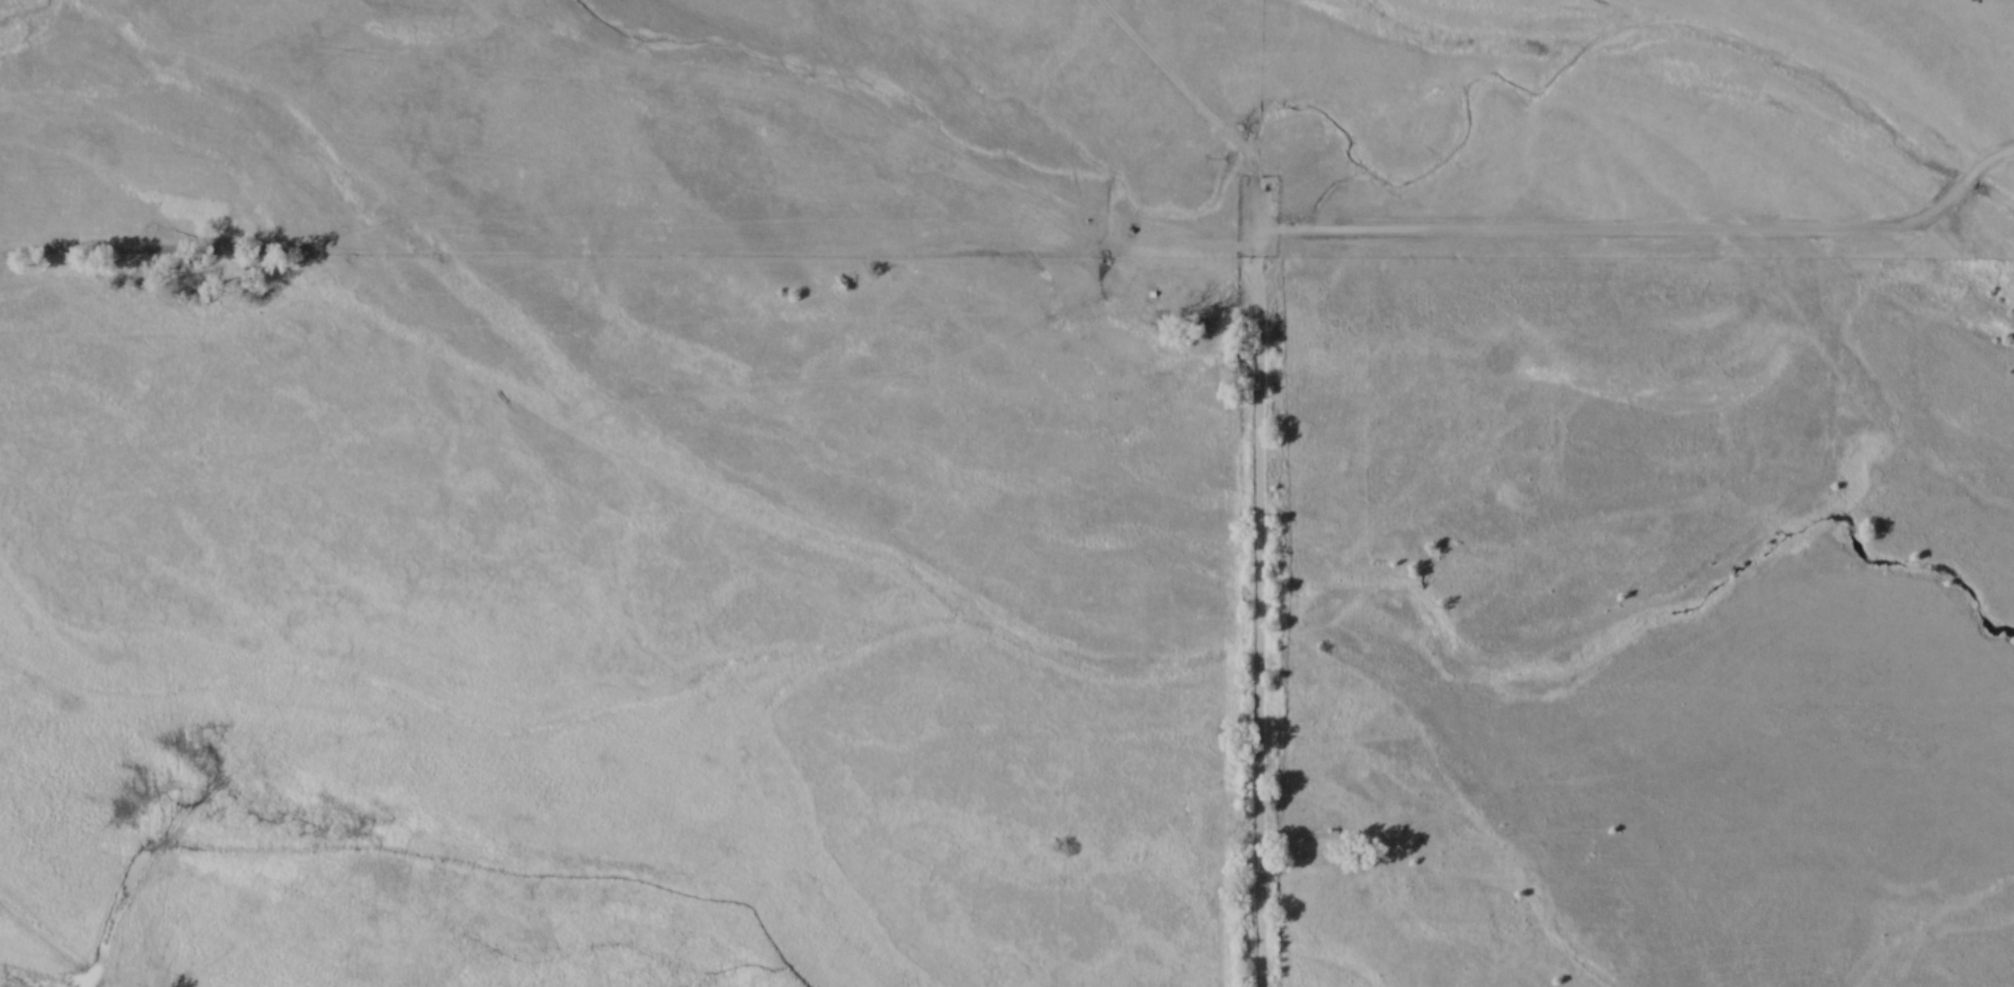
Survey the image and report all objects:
road: (1256, 841)

